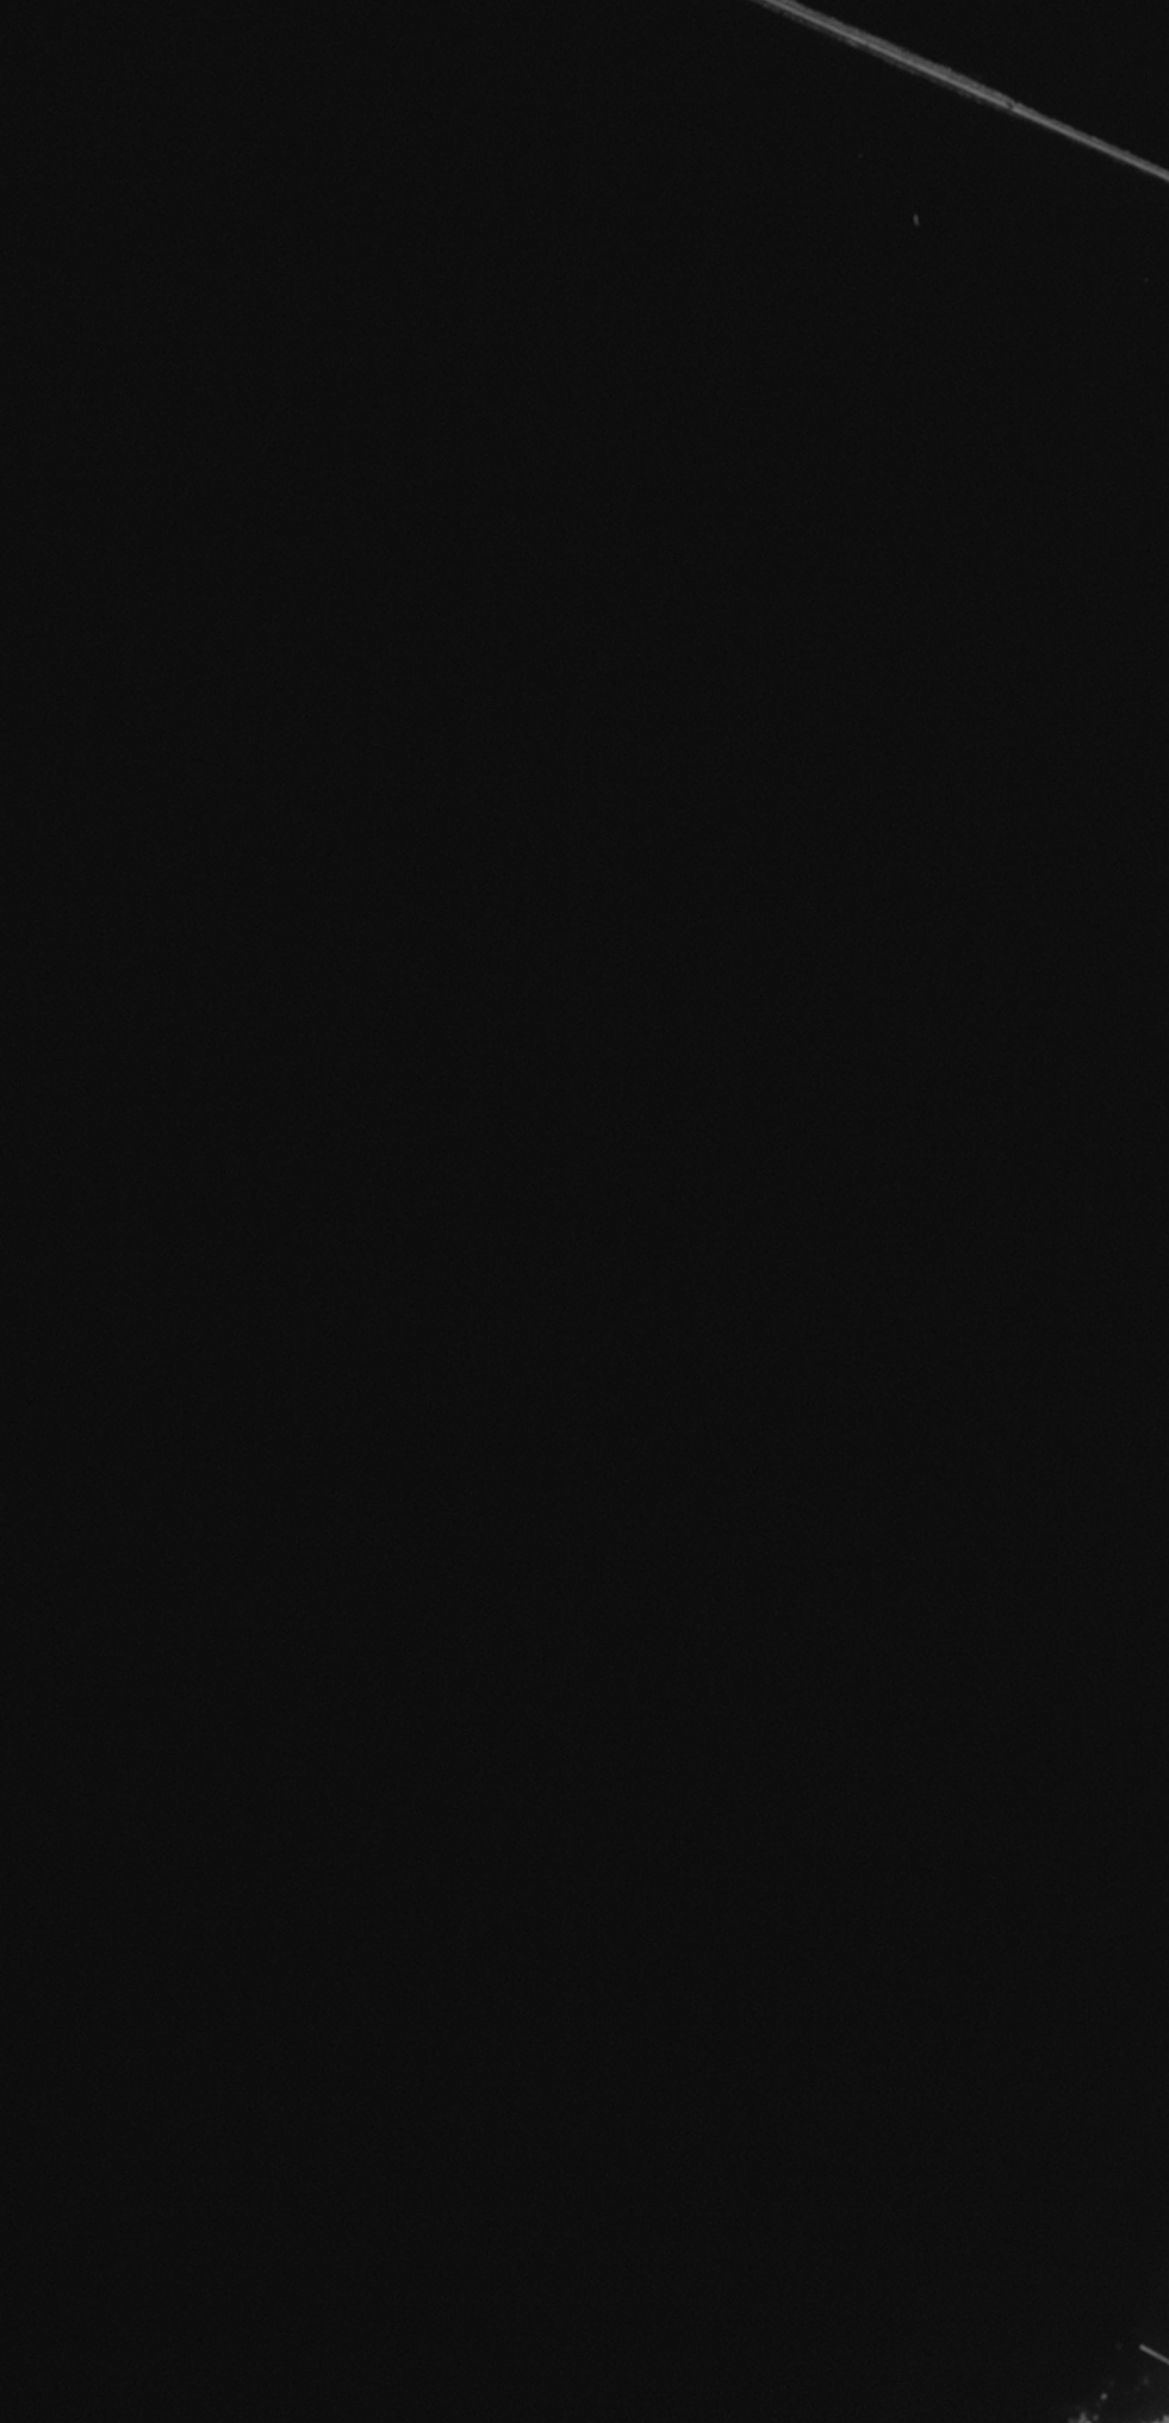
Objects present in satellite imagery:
pier: (964, 80)
road: (976, 85)
park: (983, 86)

